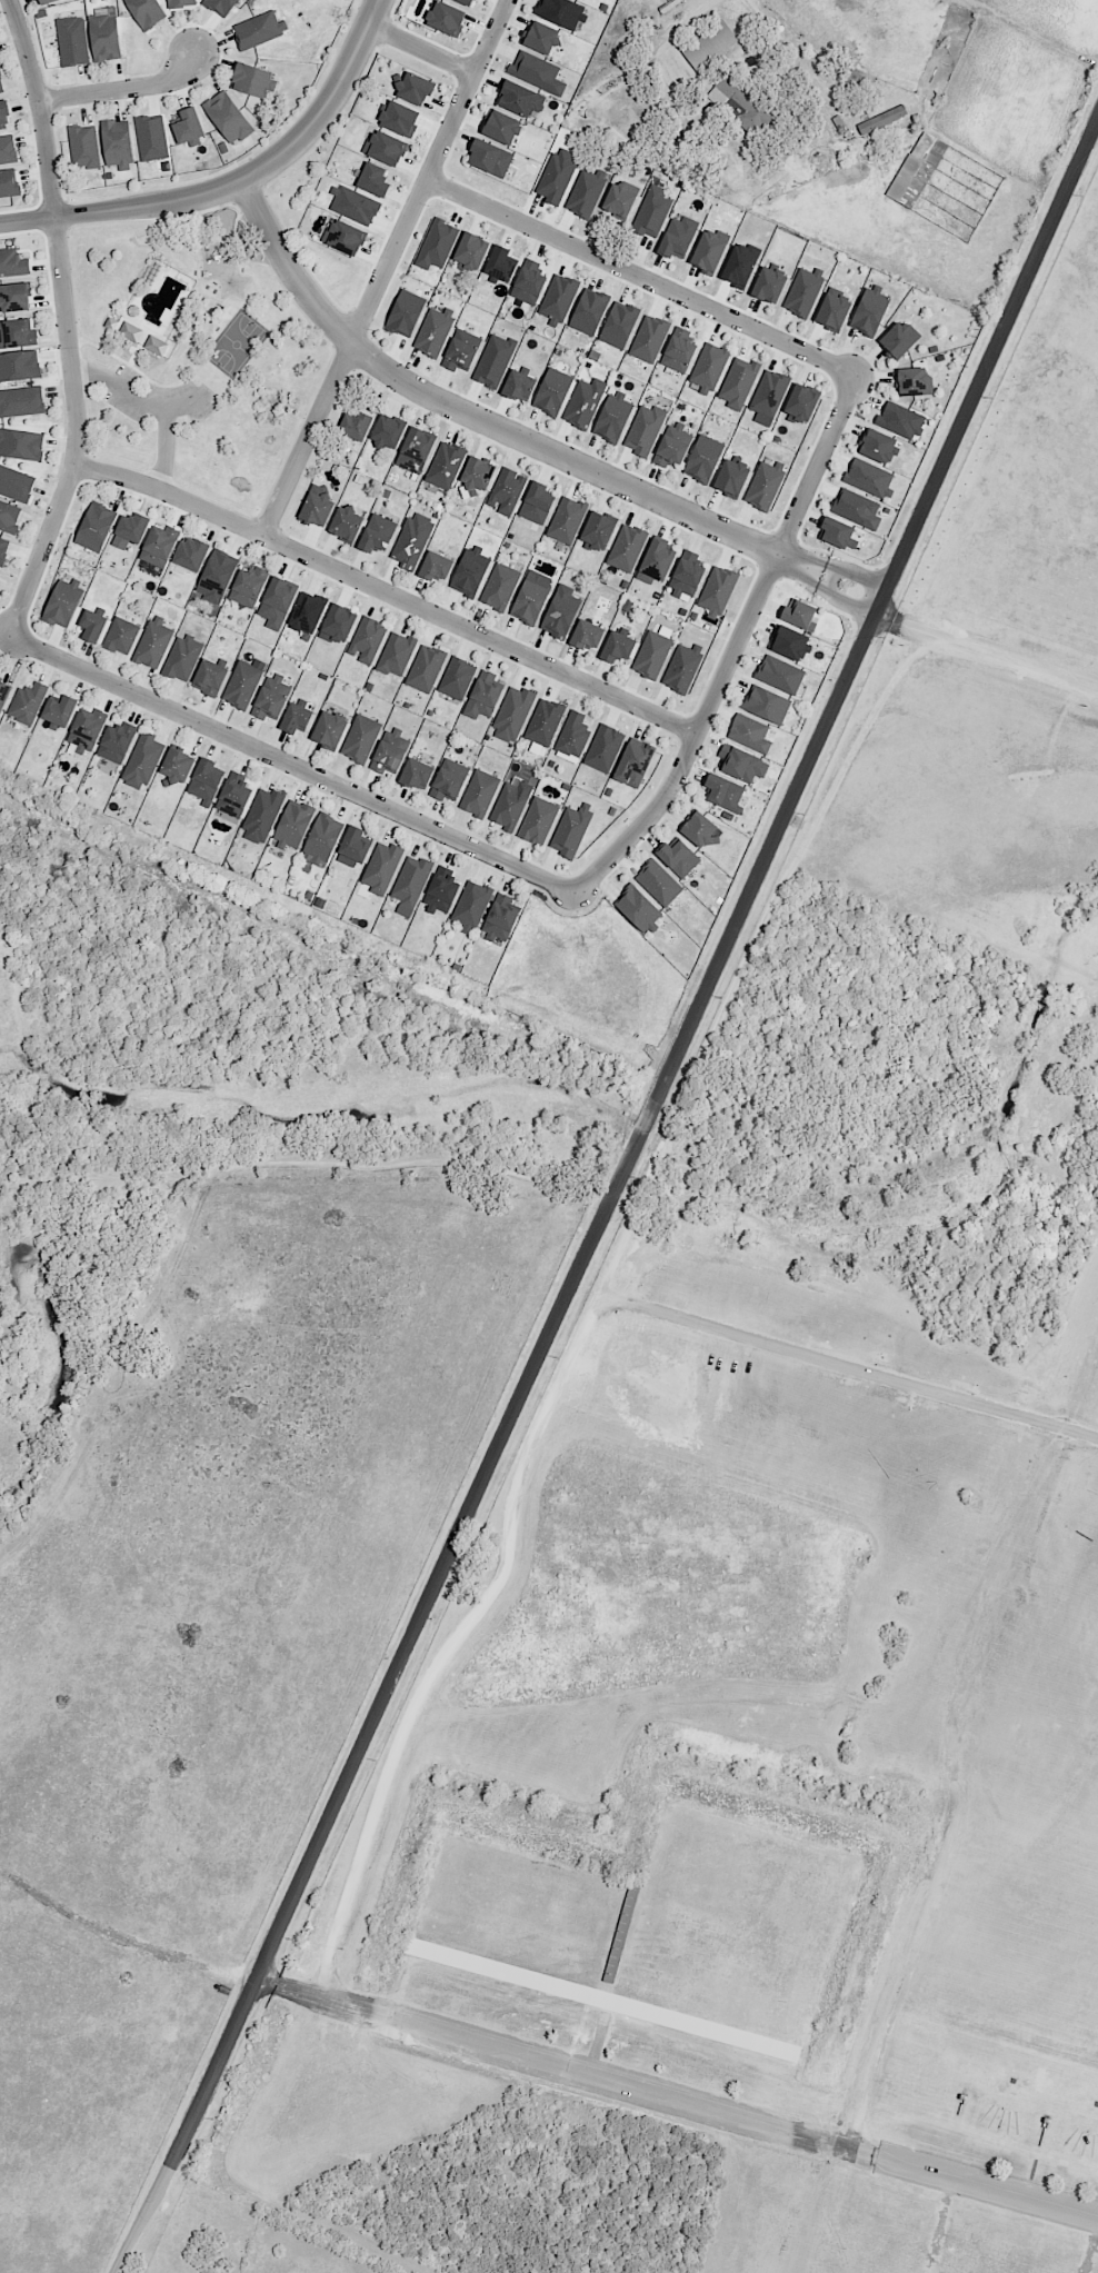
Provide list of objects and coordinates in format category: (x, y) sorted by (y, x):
building: (50, 2)
building: (466, 2)
building: (180, 3)
building: (220, 6)
building: (147, 11)
building: (559, 11)
building: (447, 14)
building: (257, 31)
building: (539, 36)
building: (103, 40)
building: (73, 41)
road: (422, 43)
building: (710, 46)
road: (651, 51)
building: (533, 68)
building: (250, 81)
building: (1, 84)
building: (411, 87)
road: (124, 89)
building: (513, 97)
building: (740, 103)
building: (3, 113)
building: (227, 118)
building: (397, 118)
building: (881, 119)
building: (499, 124)
building: (187, 128)
building: (152, 140)
building: (117, 144)
building: (81, 146)
building: (383, 147)
building: (8, 151)
building: (488, 157)
building: (916, 169)
building: (553, 176)
building: (371, 178)
road: (236, 182)
building: (9, 185)
building: (582, 190)
building: (618, 199)
building: (356, 205)
building: (652, 207)
building: (341, 236)
building: (678, 236)
building: (438, 242)
building: (471, 250)
building: (707, 250)
building: (738, 262)
building: (500, 265)
building: (13, 266)
road: (386, 267)
road: (640, 278)
building: (530, 283)
building: (767, 283)
building: (803, 293)
building: (558, 296)
building: (12, 297)
building: (590, 307)
building: (829, 310)
building: (867, 311)
building: (405, 312)
road: (67, 321)
building: (618, 321)
building: (18, 331)
building: (431, 332)
building: (143, 337)
building: (649, 337)
building: (895, 339)
park: (237, 346)
building: (463, 349)
building: (680, 352)
park: (191, 355)
building: (495, 358)
building: (710, 363)
building: (20, 368)
building: (740, 378)
building: (908, 380)
building: (516, 383)
building: (770, 390)
building: (553, 391)
building: (21, 401)
road: (139, 401)
building: (800, 401)
building: (583, 405)
road: (477, 418)
building: (899, 418)
building: (611, 419)
building: (355, 423)
building: (643, 431)
building: (385, 432)
building: (21, 445)
building: (673, 445)
building: (876, 446)
road: (164, 449)
building: (416, 449)
building: (702, 459)
building: (447, 463)
building: (478, 472)
building: (731, 475)
building: (867, 477)
building: (14, 482)
building: (765, 485)
building: (507, 490)
building: (536, 505)
building: (856, 507)
building: (316, 508)
building: (567, 519)
building: (8, 520)
building: (345, 524)
building: (96, 527)
building: (133, 527)
building: (598, 531)
building: (378, 532)
building: (835, 532)
building: (411, 542)
building: (159, 545)
building: (2, 547)
building: (626, 548)
building: (192, 554)
building: (656, 560)
road: (815, 564)
building: (435, 567)
building: (469, 570)
building: (687, 571)
building: (219, 575)
road: (864, 575)
road: (809, 577)
road: (834, 579)
building: (250, 586)
building: (499, 587)
road: (388, 591)
building: (717, 591)
building: (531, 599)
building: (278, 600)
building: (63, 602)
road: (849, 606)
building: (307, 611)
building: (562, 612)
building: (797, 615)
building: (338, 620)
building: (92, 625)
building: (121, 635)
building: (588, 637)
building: (367, 638)
building: (789, 642)
building: (152, 644)
building: (617, 646)
road: (733, 650)
road: (986, 650)
building: (396, 652)
building: (651, 655)
building: (182, 657)
building: (425, 666)
building: (681, 666)
building: (779, 675)
building: (209, 676)
building: (459, 678)
building: (242, 686)
building: (3, 692)
building: (482, 694)
building: (270, 700)
building: (27, 704)
building: (766, 705)
building: (516, 708)
building: (59, 710)
building: (295, 717)
building: (546, 720)
building: (86, 728)
building: (330, 729)
building: (749, 734)
building: (360, 737)
building: (573, 737)
building: (114, 741)
building: (603, 748)
building: (389, 751)
building: (143, 758)
building: (633, 762)
road: (289, 764)
building: (738, 764)
building: (177, 765)
building: (412, 772)
building: (448, 778)
building: (204, 782)
building: (478, 791)
building: (722, 794)
building: (232, 799)
building: (509, 804)
building: (262, 813)
building: (293, 821)
building: (537, 821)
building: (698, 829)
building: (570, 830)
building: (321, 838)
building: (352, 848)
building: (677, 855)
building: (380, 867)
building: (656, 880)
building: (410, 881)
building: (441, 889)
building: (471, 904)
building: (635, 908)
building: (500, 917)
road: (302, 1164)
road: (611, 1192)
road: (547, 1408)
park: (523, 1915)
park: (736, 1934)
road: (677, 2094)

